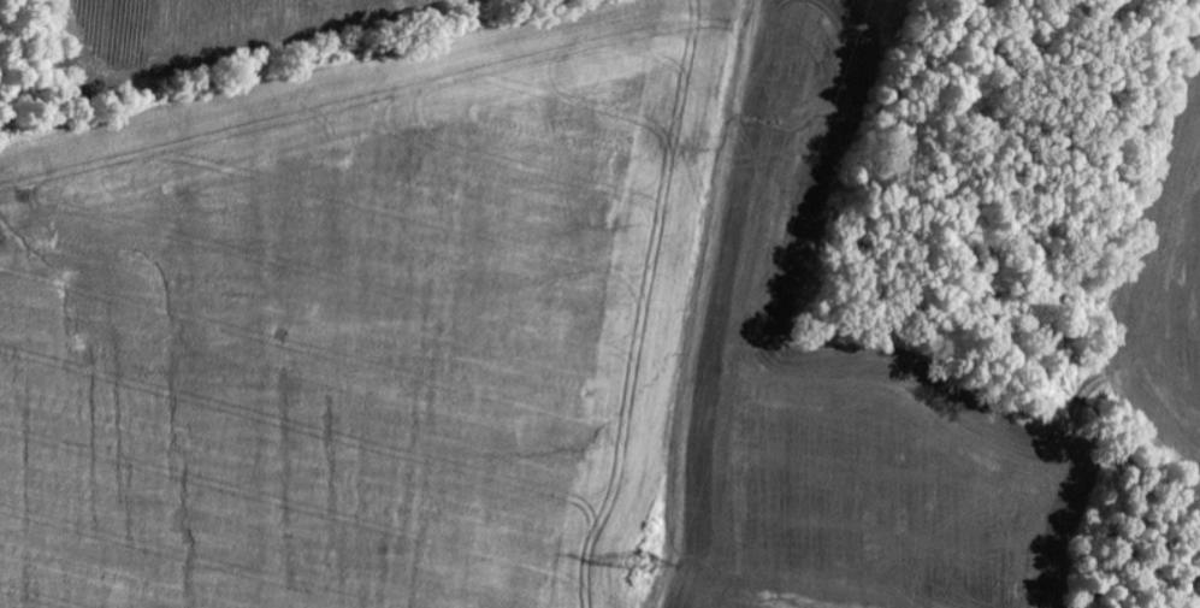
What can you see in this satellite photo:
power tower: (637, 563)

